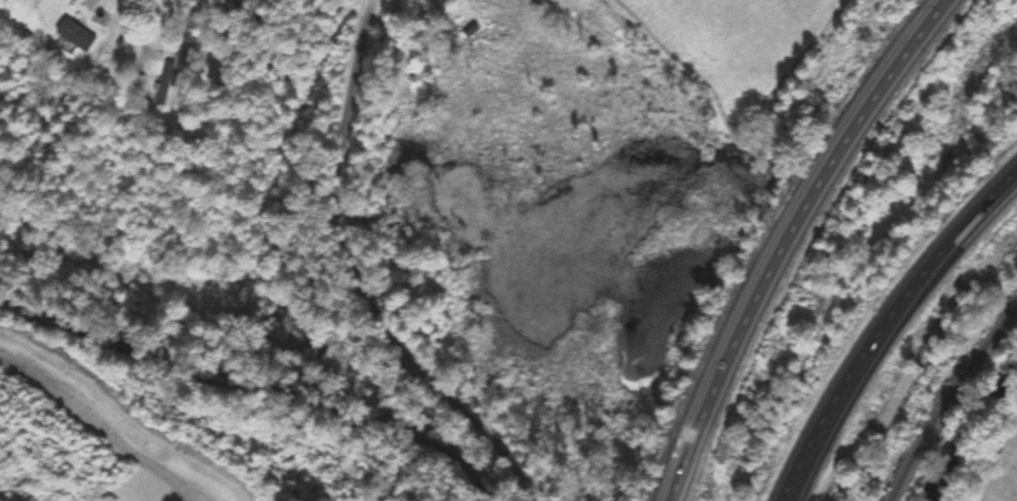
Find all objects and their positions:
building: (442, 3)
building: (74, 36)
building: (162, 85)
road: (786, 239)
road: (361, 277)
road: (883, 324)
road: (257, 391)
railway: (951, 400)
river: (967, 433)

